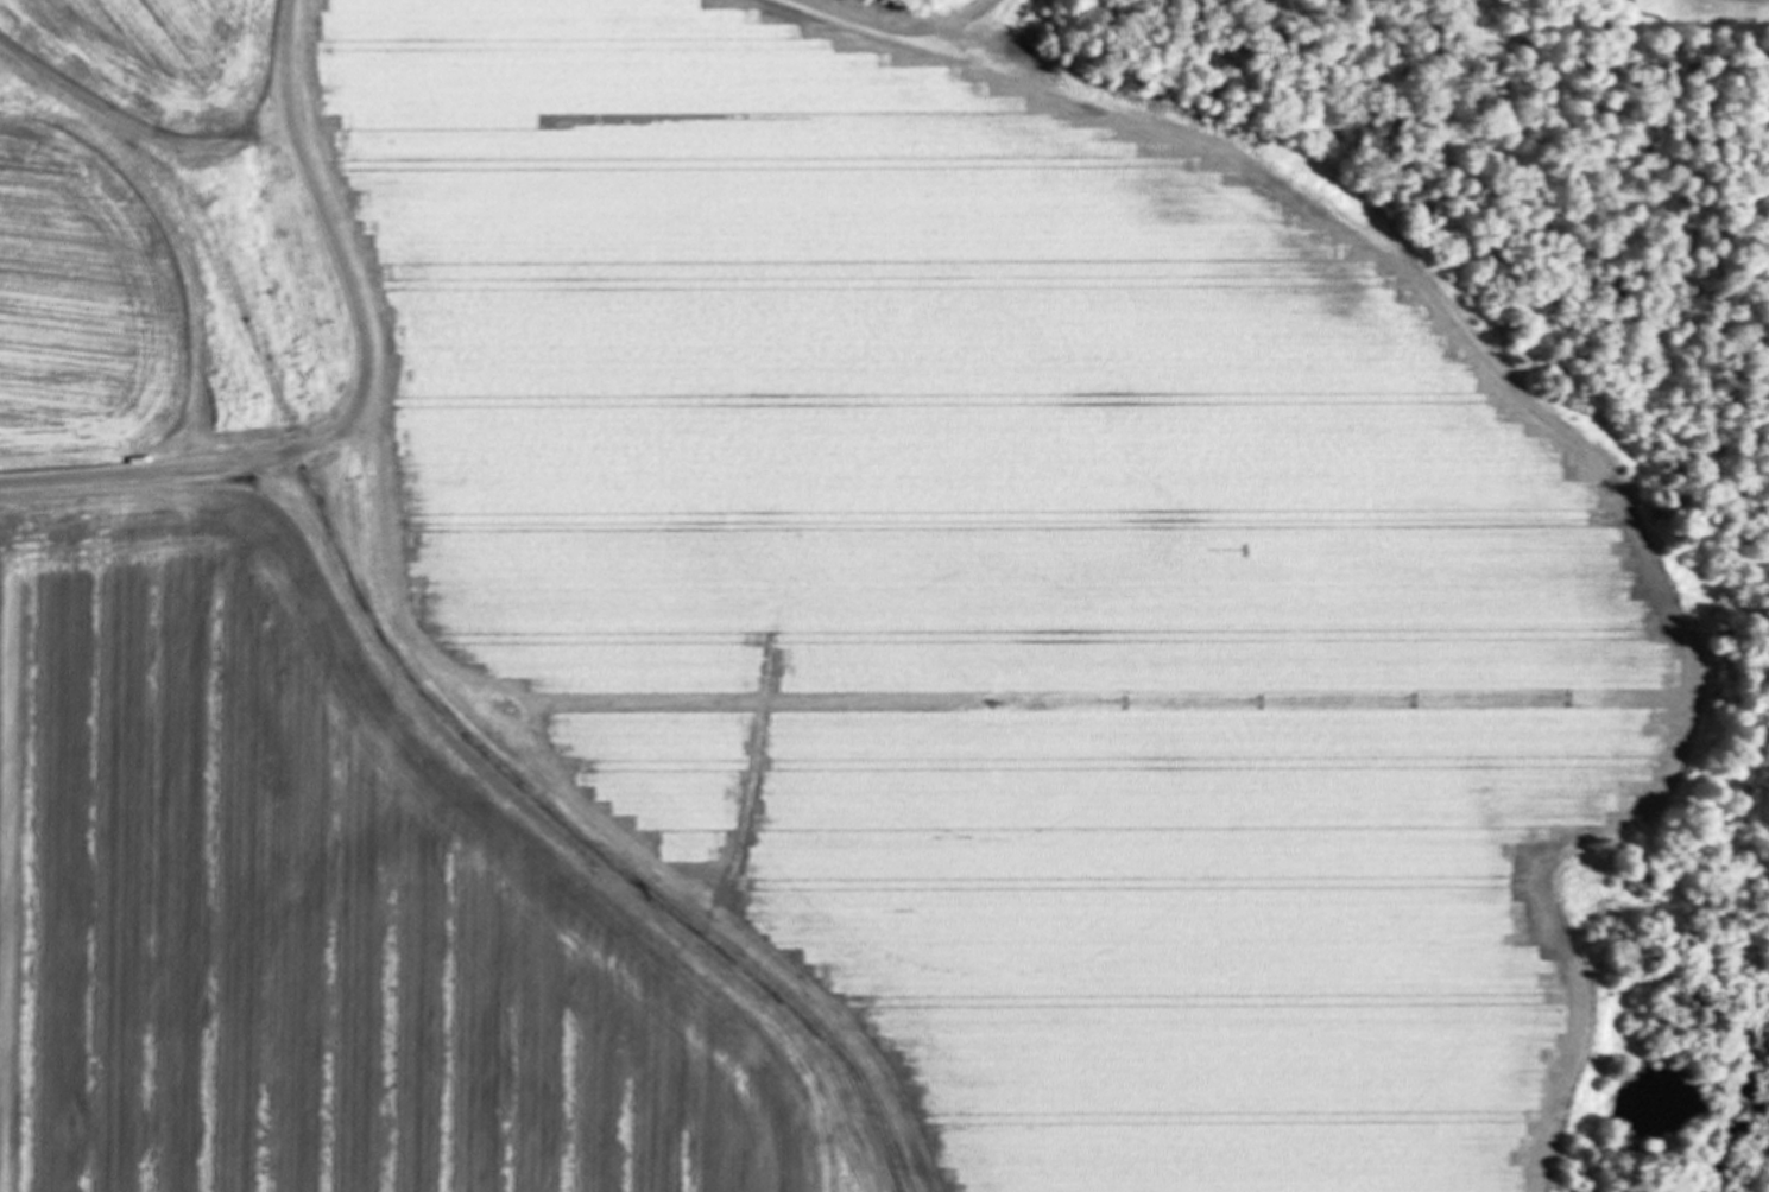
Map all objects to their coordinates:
road: (902, 28)
road: (365, 385)

